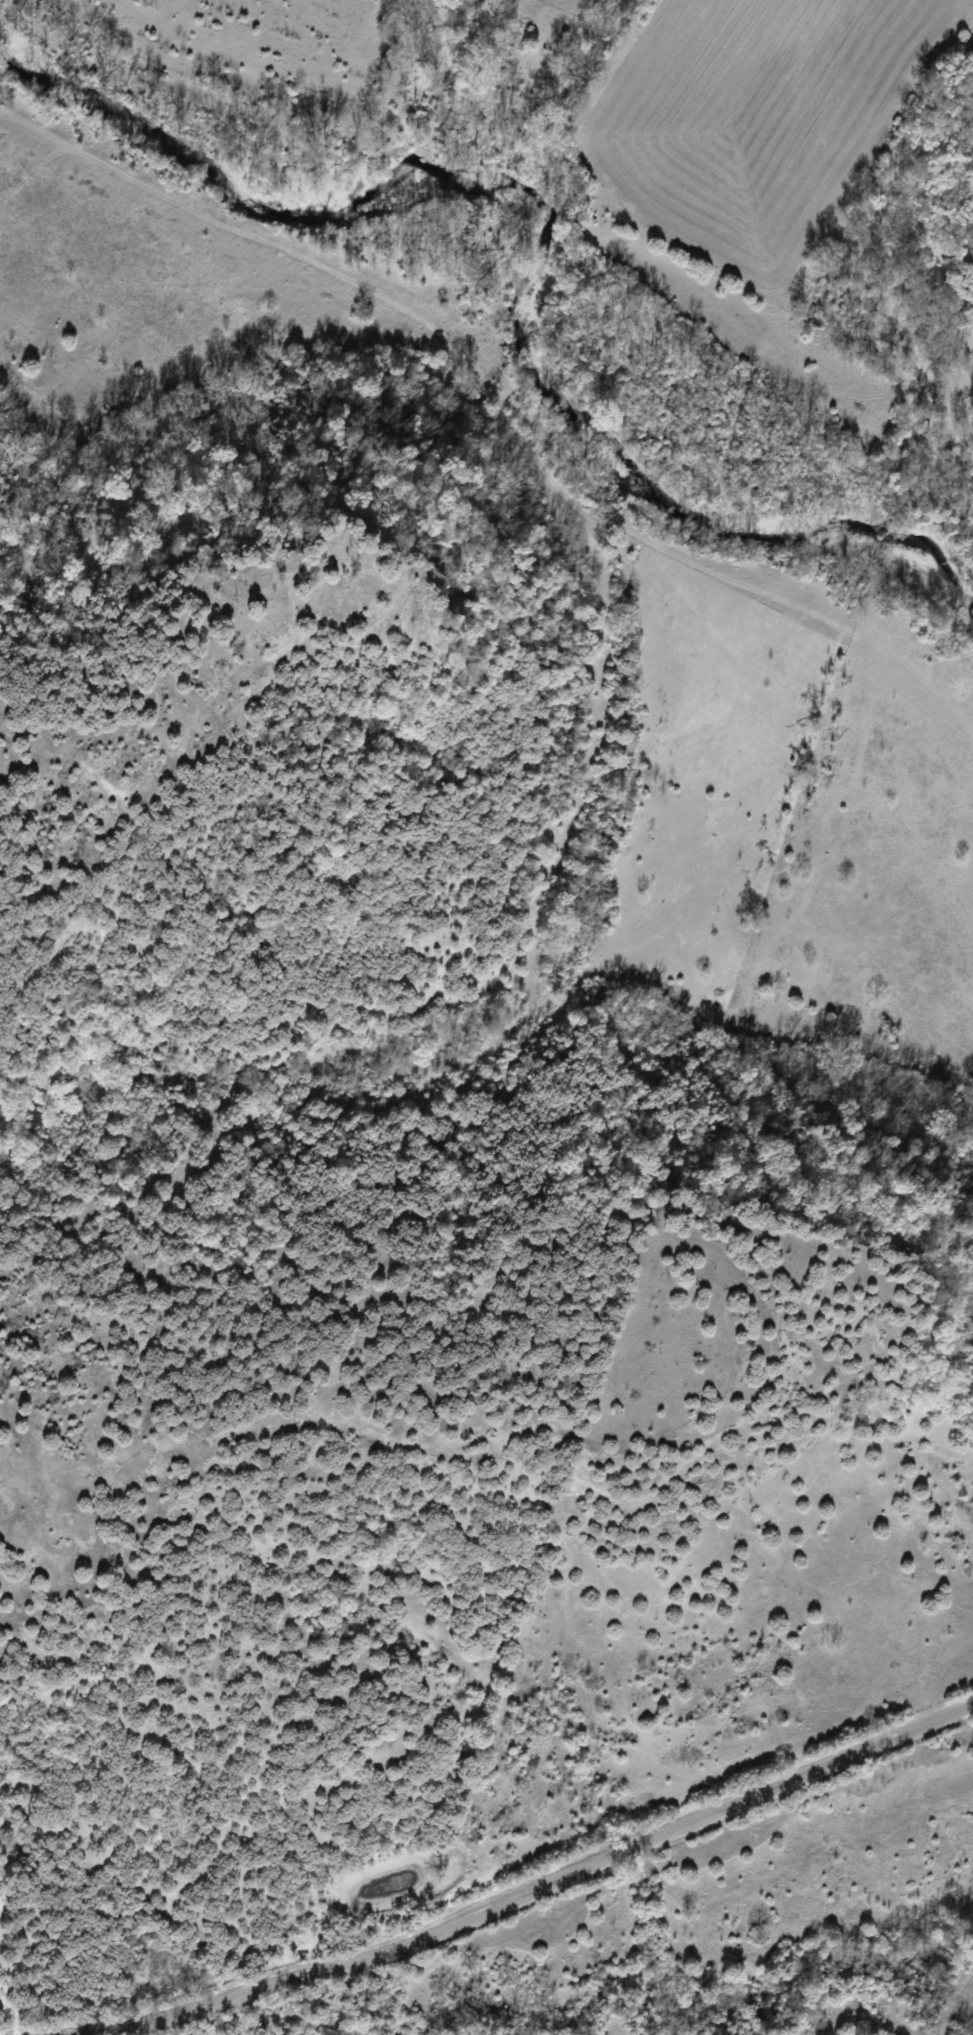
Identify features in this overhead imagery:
road: (532, 1895)

